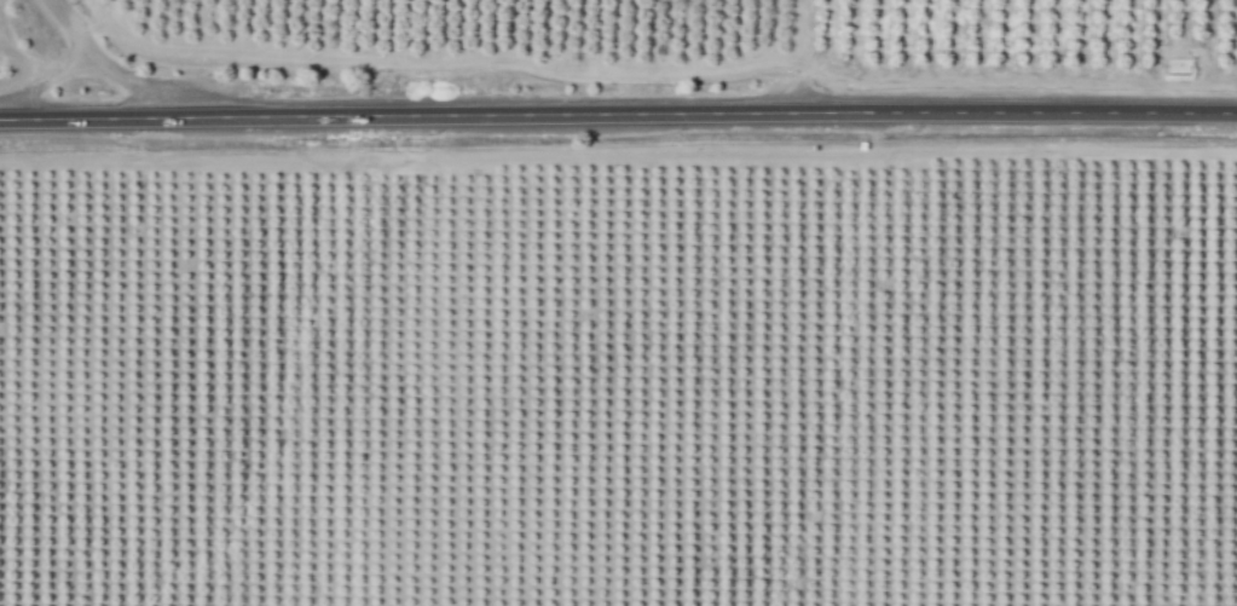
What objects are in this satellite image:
road: (103, 65)
road: (46, 82)
road: (618, 114)

